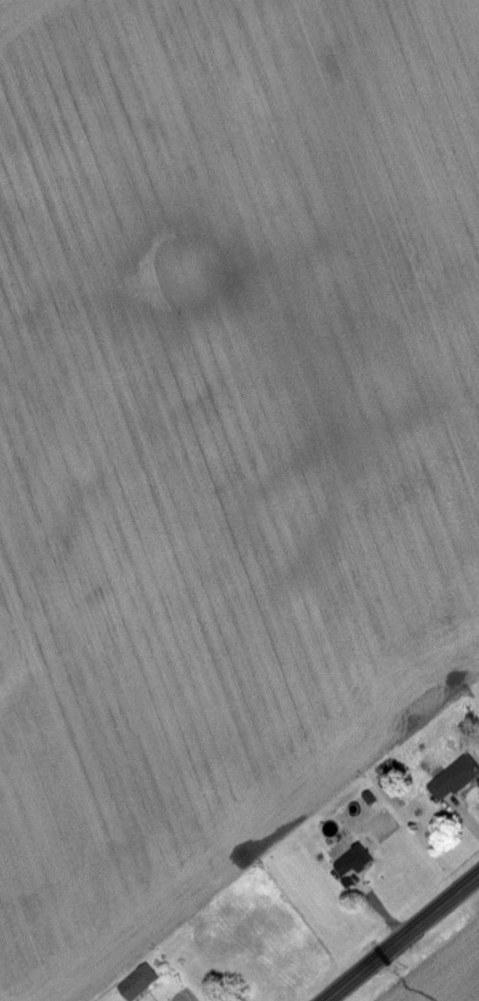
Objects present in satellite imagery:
building: (458, 778)
building: (359, 860)
road: (402, 936)

